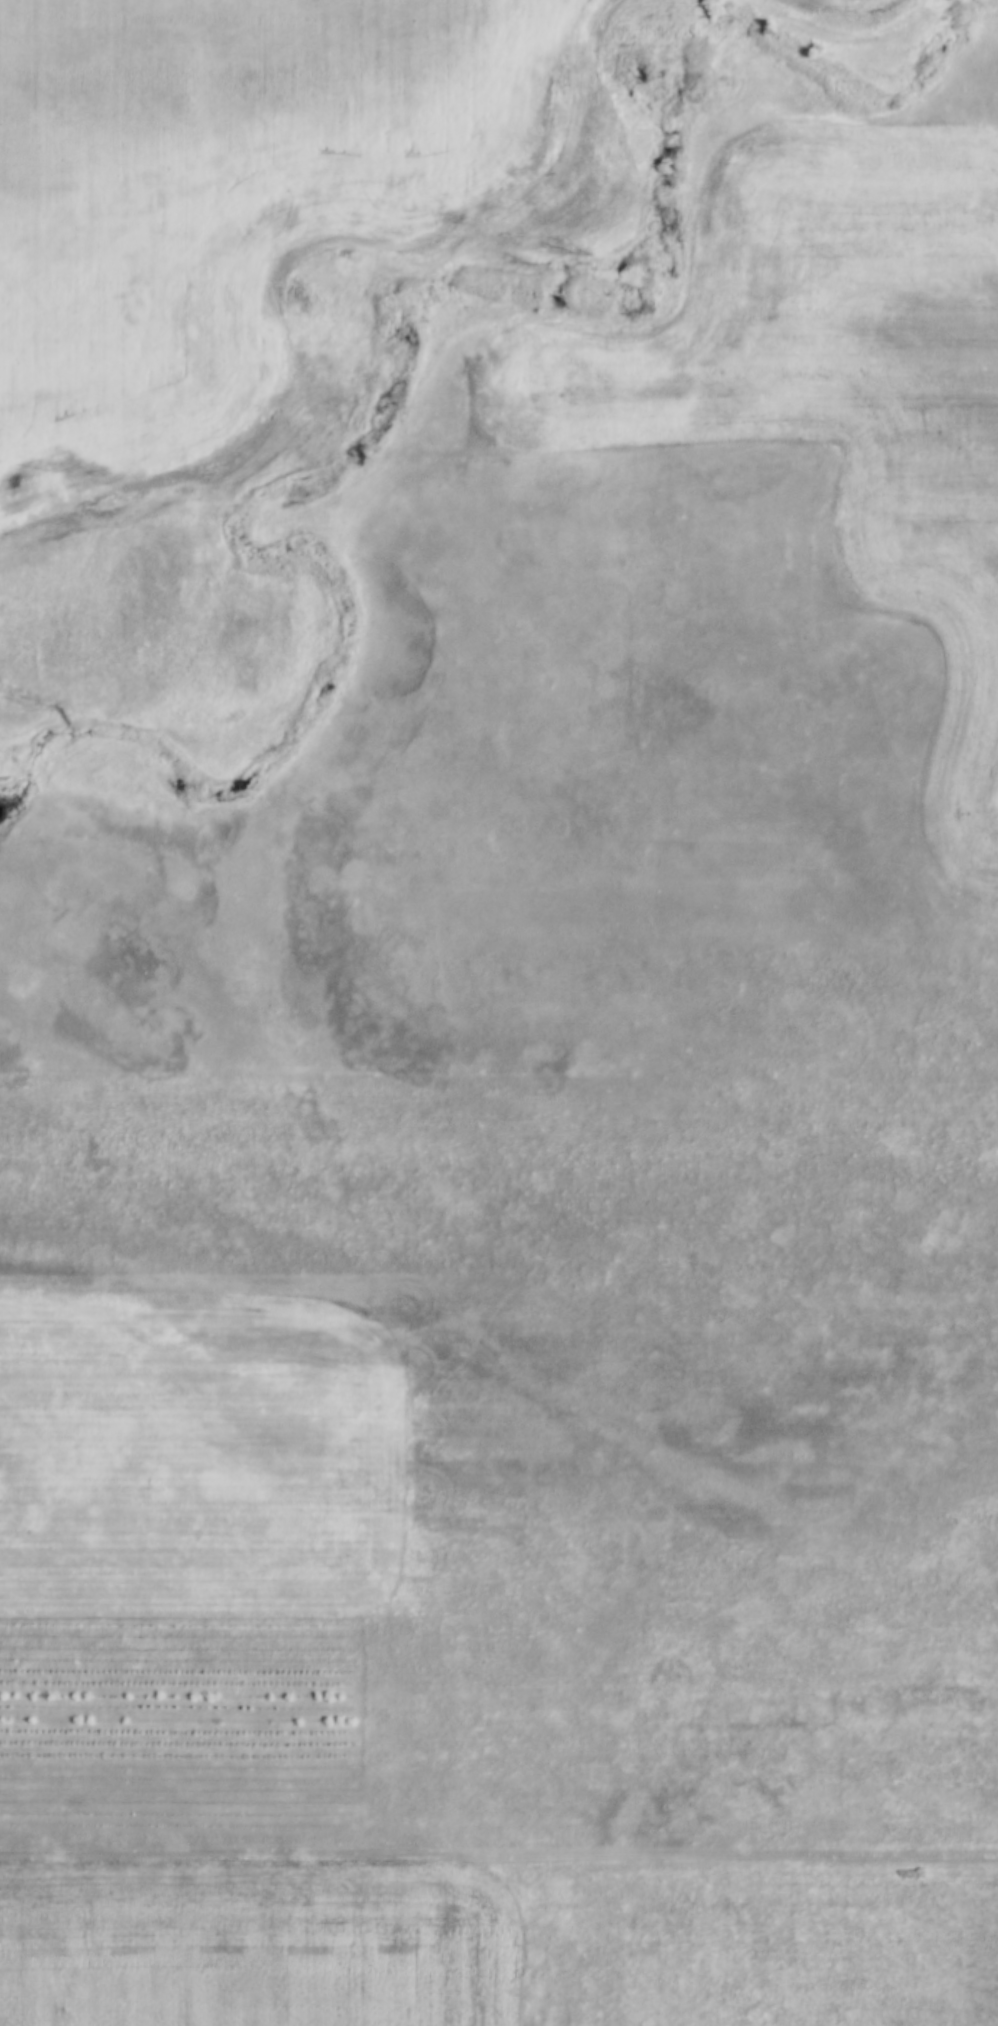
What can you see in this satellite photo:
road: (498, 1861)

